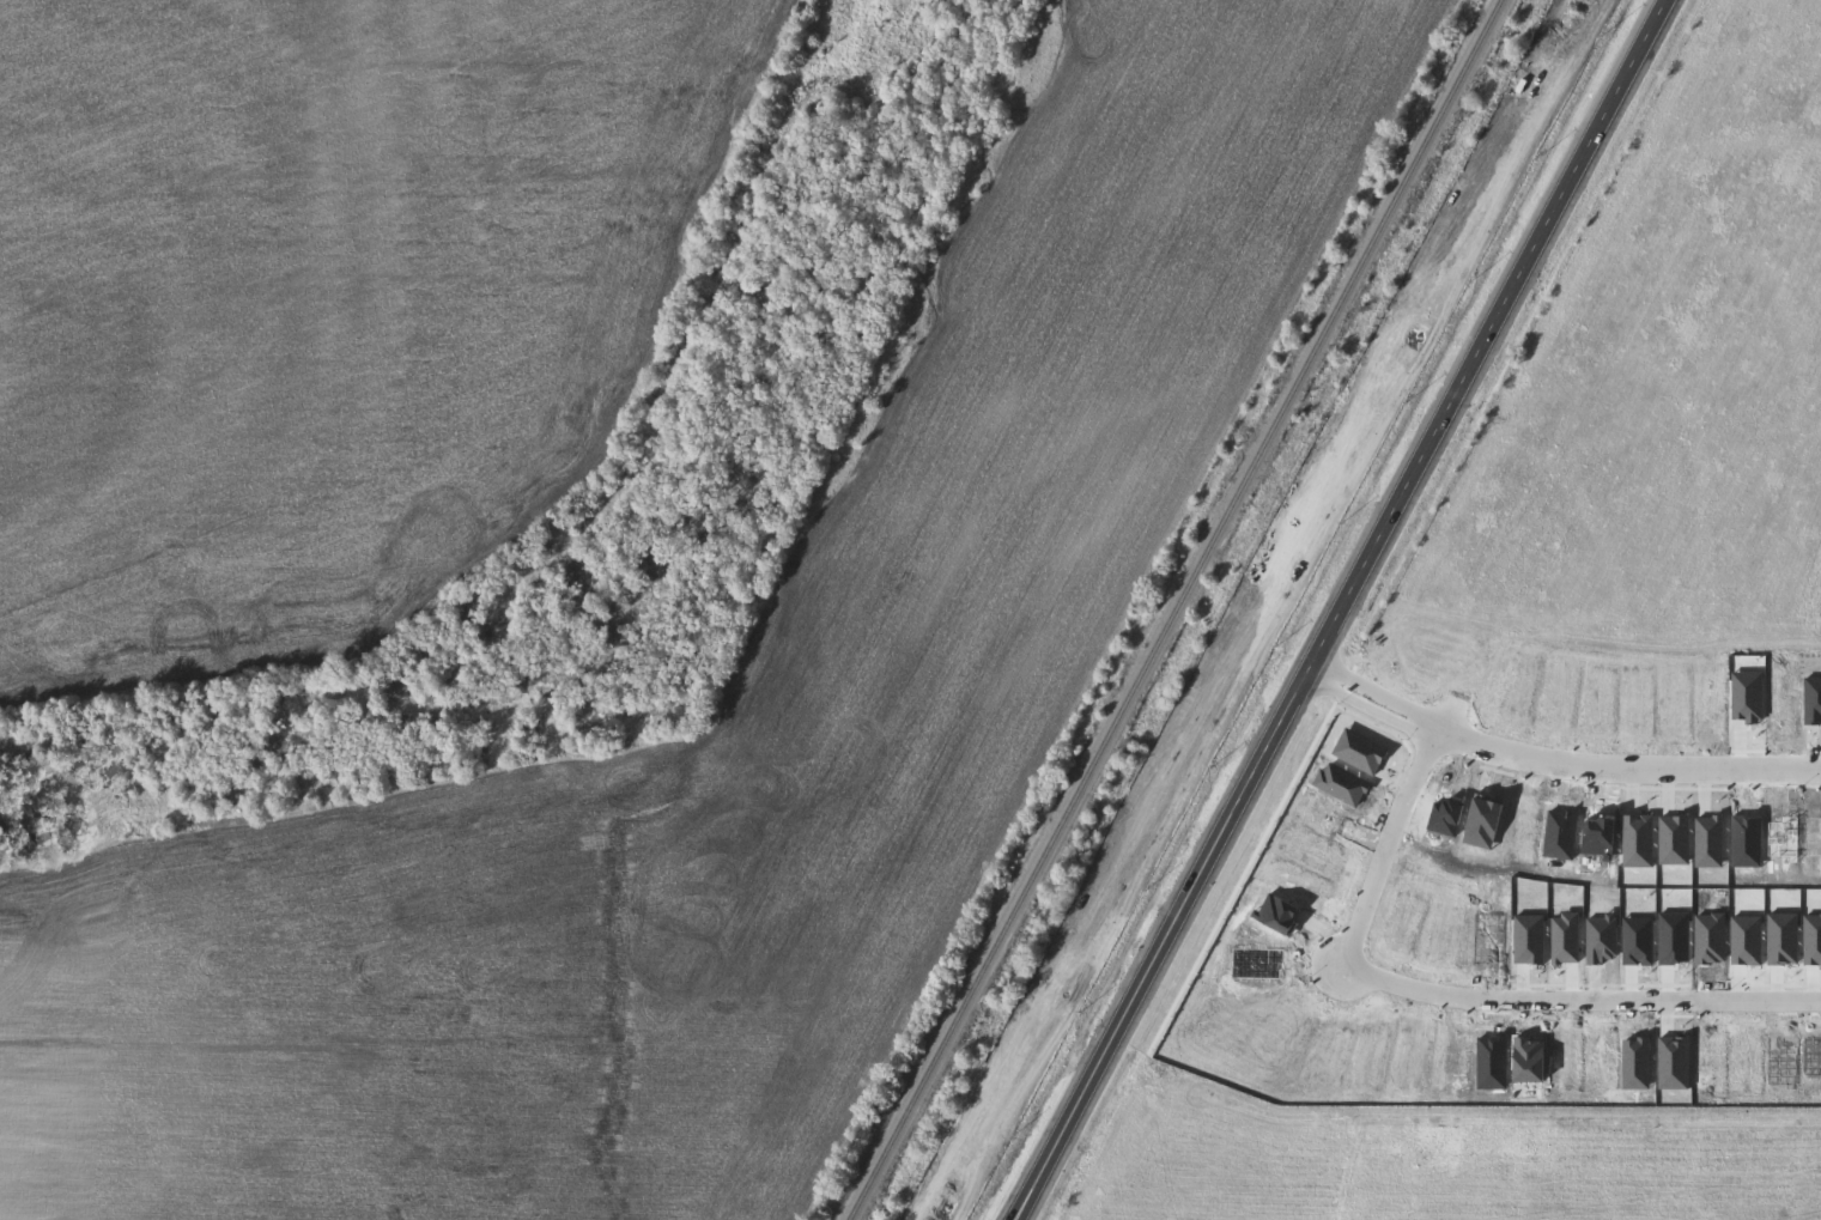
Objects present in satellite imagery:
road: (1807, 78)
road: (1748, 316)
road: (1698, 514)
road: (1340, 606)
railway: (1259, 609)
railway: (1179, 612)
road: (1452, 696)
road: (1554, 763)

